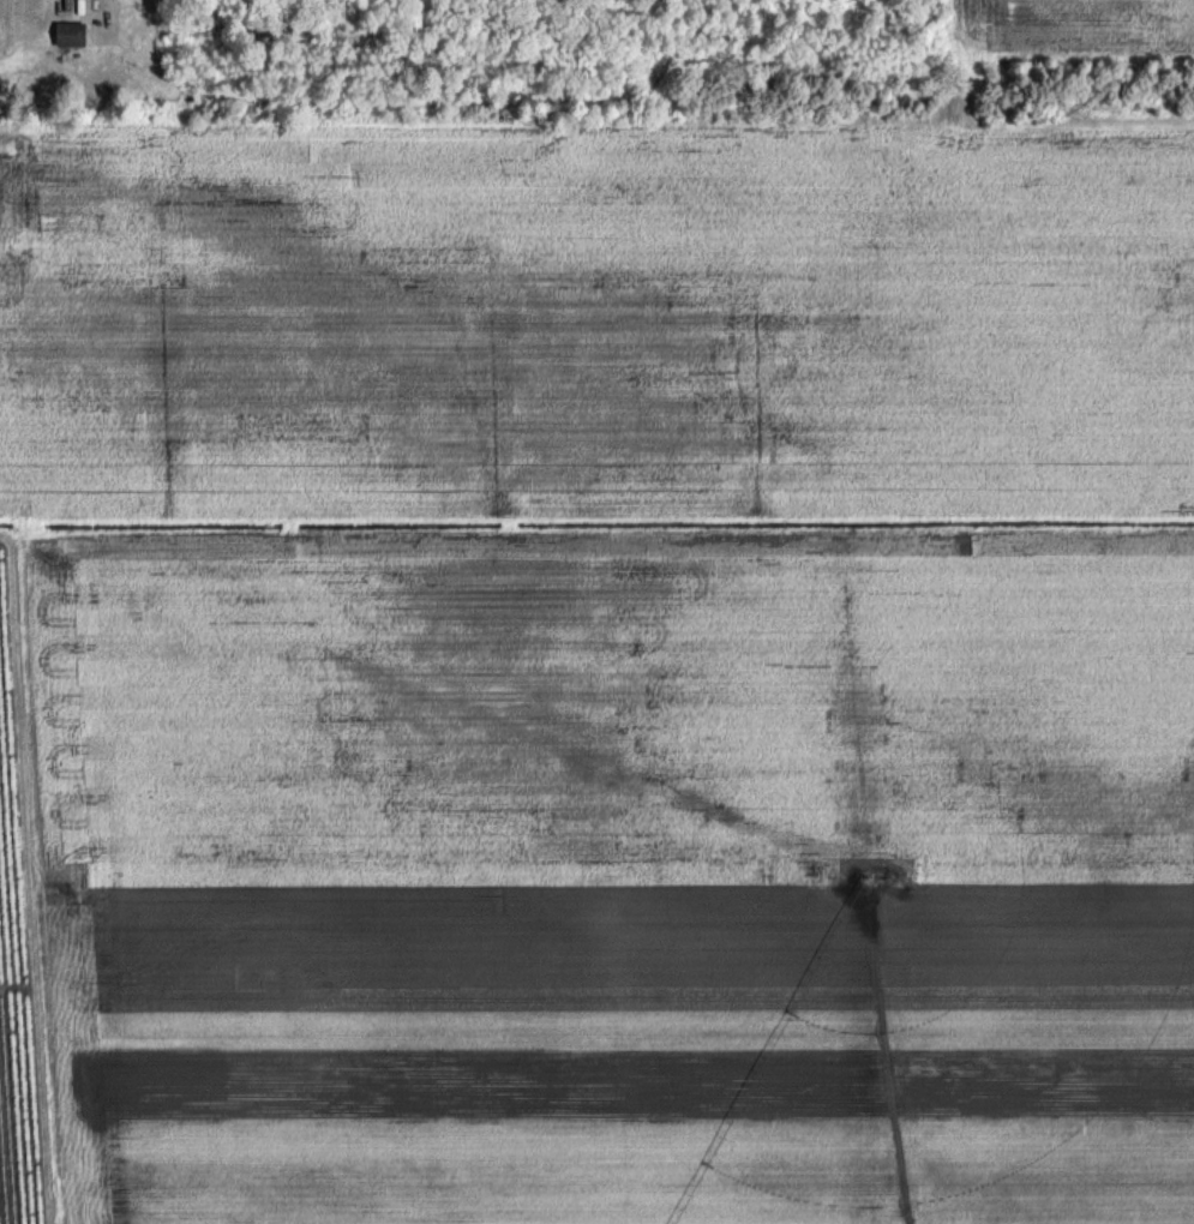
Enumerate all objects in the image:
building: (64, 34)
road: (7, 67)

